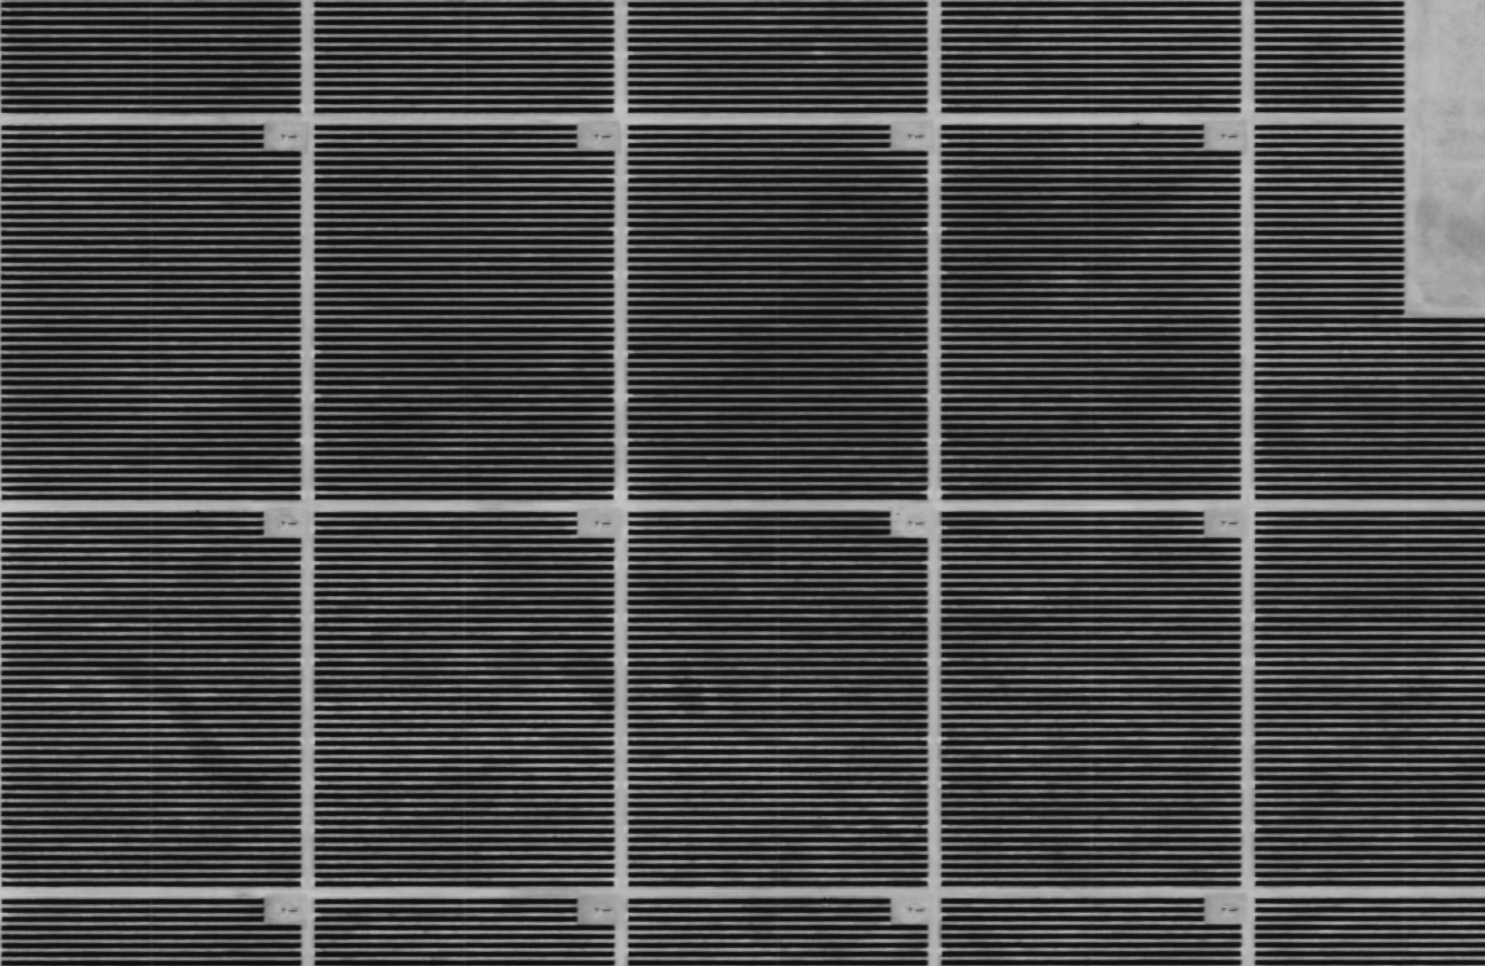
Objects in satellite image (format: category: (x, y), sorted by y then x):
solar farm: (742, 483)

